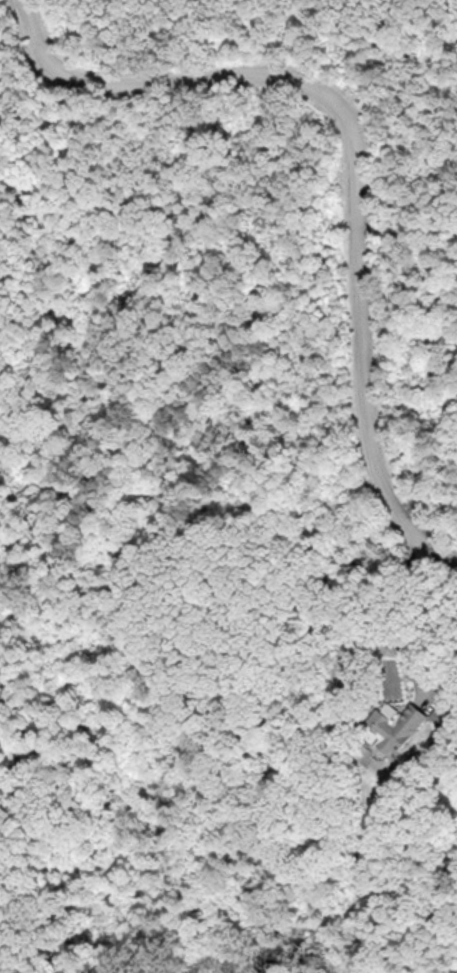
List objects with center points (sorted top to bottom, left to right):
road: (358, 155)
park: (220, 470)
road: (389, 611)
building: (387, 726)

